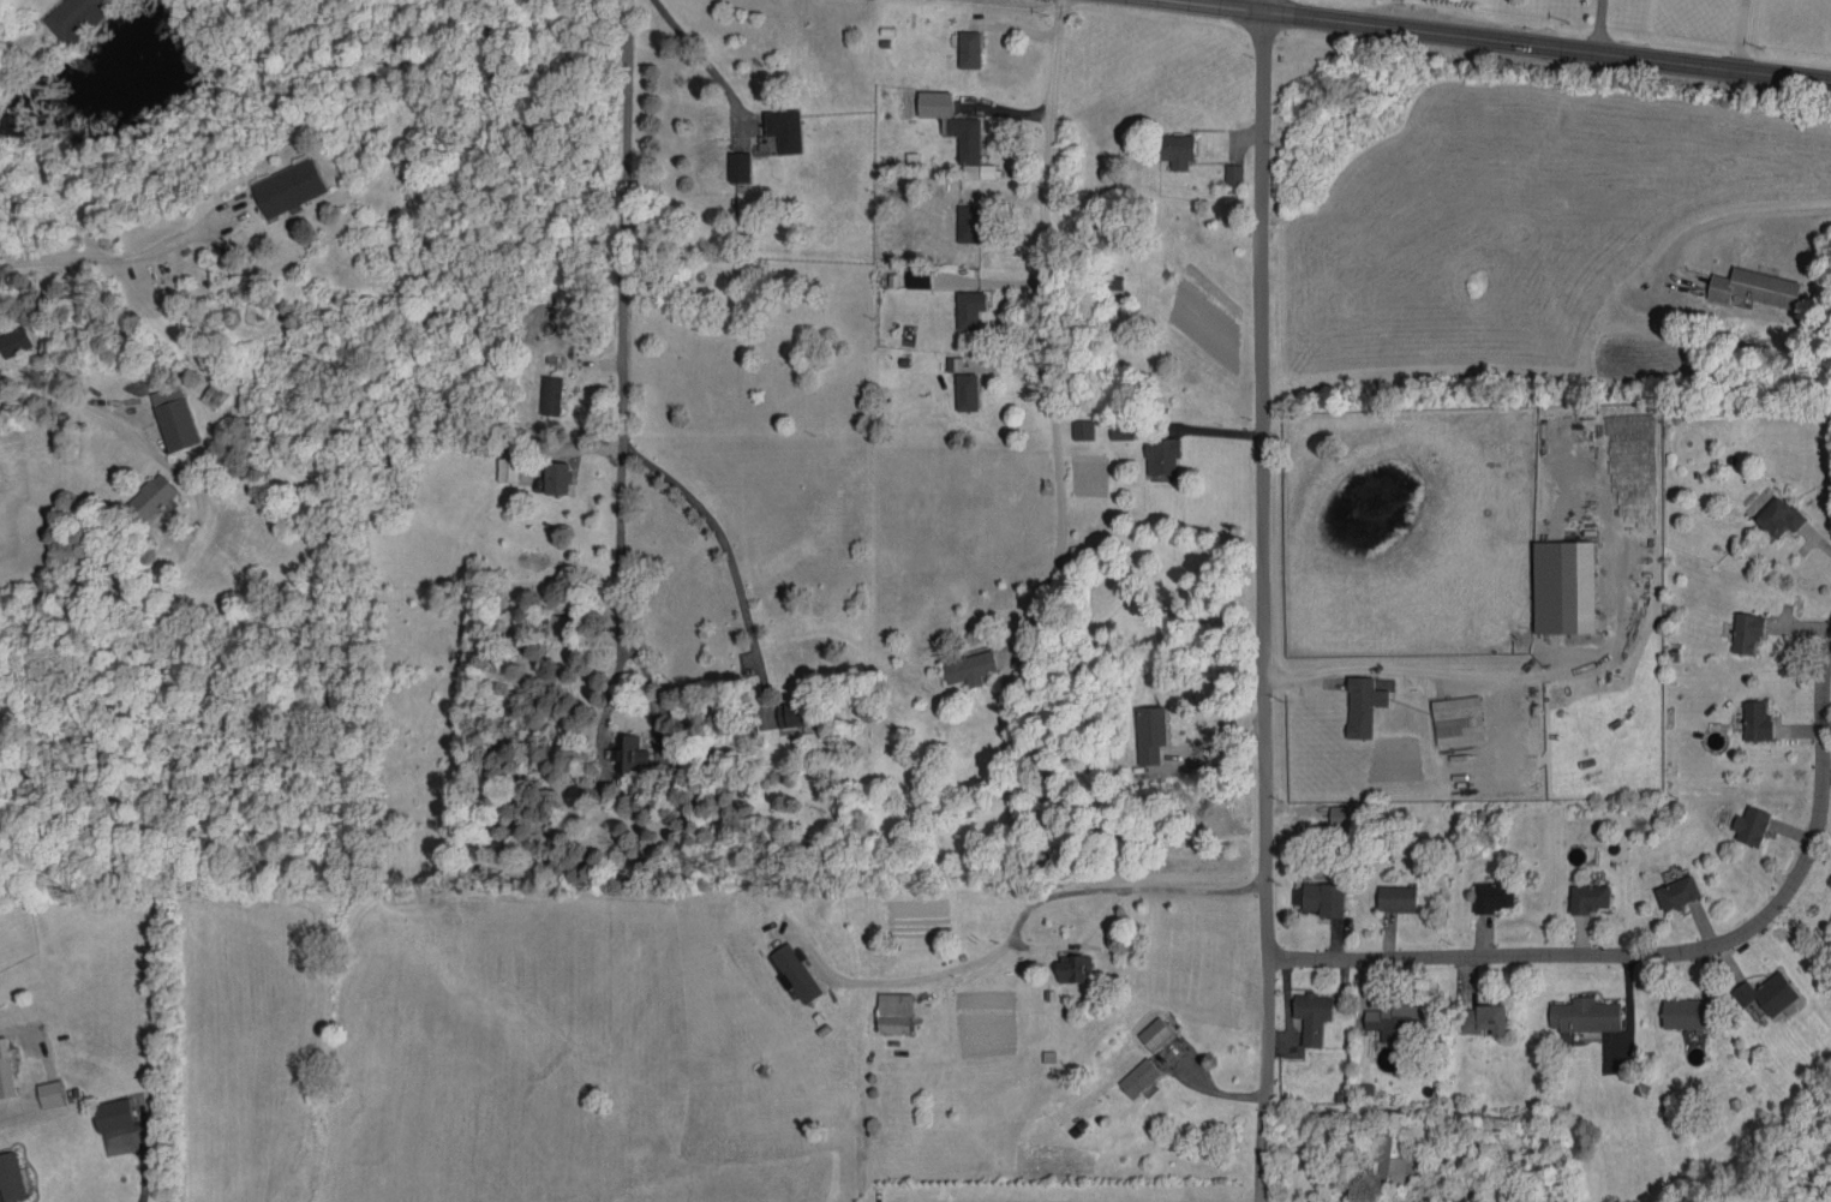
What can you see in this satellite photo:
road: (1231, 4)
road: (1262, 4)
building: (76, 18)
road: (1598, 23)
road: (1737, 32)
road: (1546, 40)
building: (970, 48)
road: (705, 58)
building: (953, 124)
building: (785, 128)
building: (1178, 149)
building: (738, 166)
building: (988, 171)
building: (1234, 174)
building: (289, 187)
road: (1722, 215)
building: (969, 222)
road: (626, 225)
road: (122, 255)
building: (919, 277)
building: (1755, 287)
building: (970, 309)
road: (1045, 309)
building: (14, 341)
building: (968, 391)
building: (551, 394)
building: (215, 395)
building: (174, 418)
building: (1084, 429)
building: (1121, 429)
road: (127, 437)
building: (1163, 455)
building: (508, 468)
building: (555, 478)
building: (151, 497)
building: (1781, 516)
road: (731, 558)
building: (1564, 586)
road: (621, 588)
road: (1265, 604)
building: (554, 622)
building: (1748, 630)
building: (970, 666)
road: (1411, 671)
building: (1030, 672)
building: (1364, 705)
building: (798, 713)
building: (1458, 719)
building: (1758, 720)
building: (1151, 732)
building: (629, 753)
building: (1340, 814)
building: (1752, 826)
building: (1679, 891)
building: (1494, 896)
building: (1321, 897)
building: (1398, 897)
building: (1591, 897)
road: (1017, 925)
building: (1829, 933)
road: (1658, 953)
building: (1076, 968)
building: (796, 971)
building: (1769, 993)
building: (896, 1012)
building: (1689, 1012)
building: (1314, 1015)
building: (1585, 1015)
building: (1484, 1018)
building: (1396, 1019)
building: (1155, 1033)
building: (1141, 1077)
building: (50, 1093)
building: (114, 1114)
building: (1393, 1160)
building: (1398, 1198)

